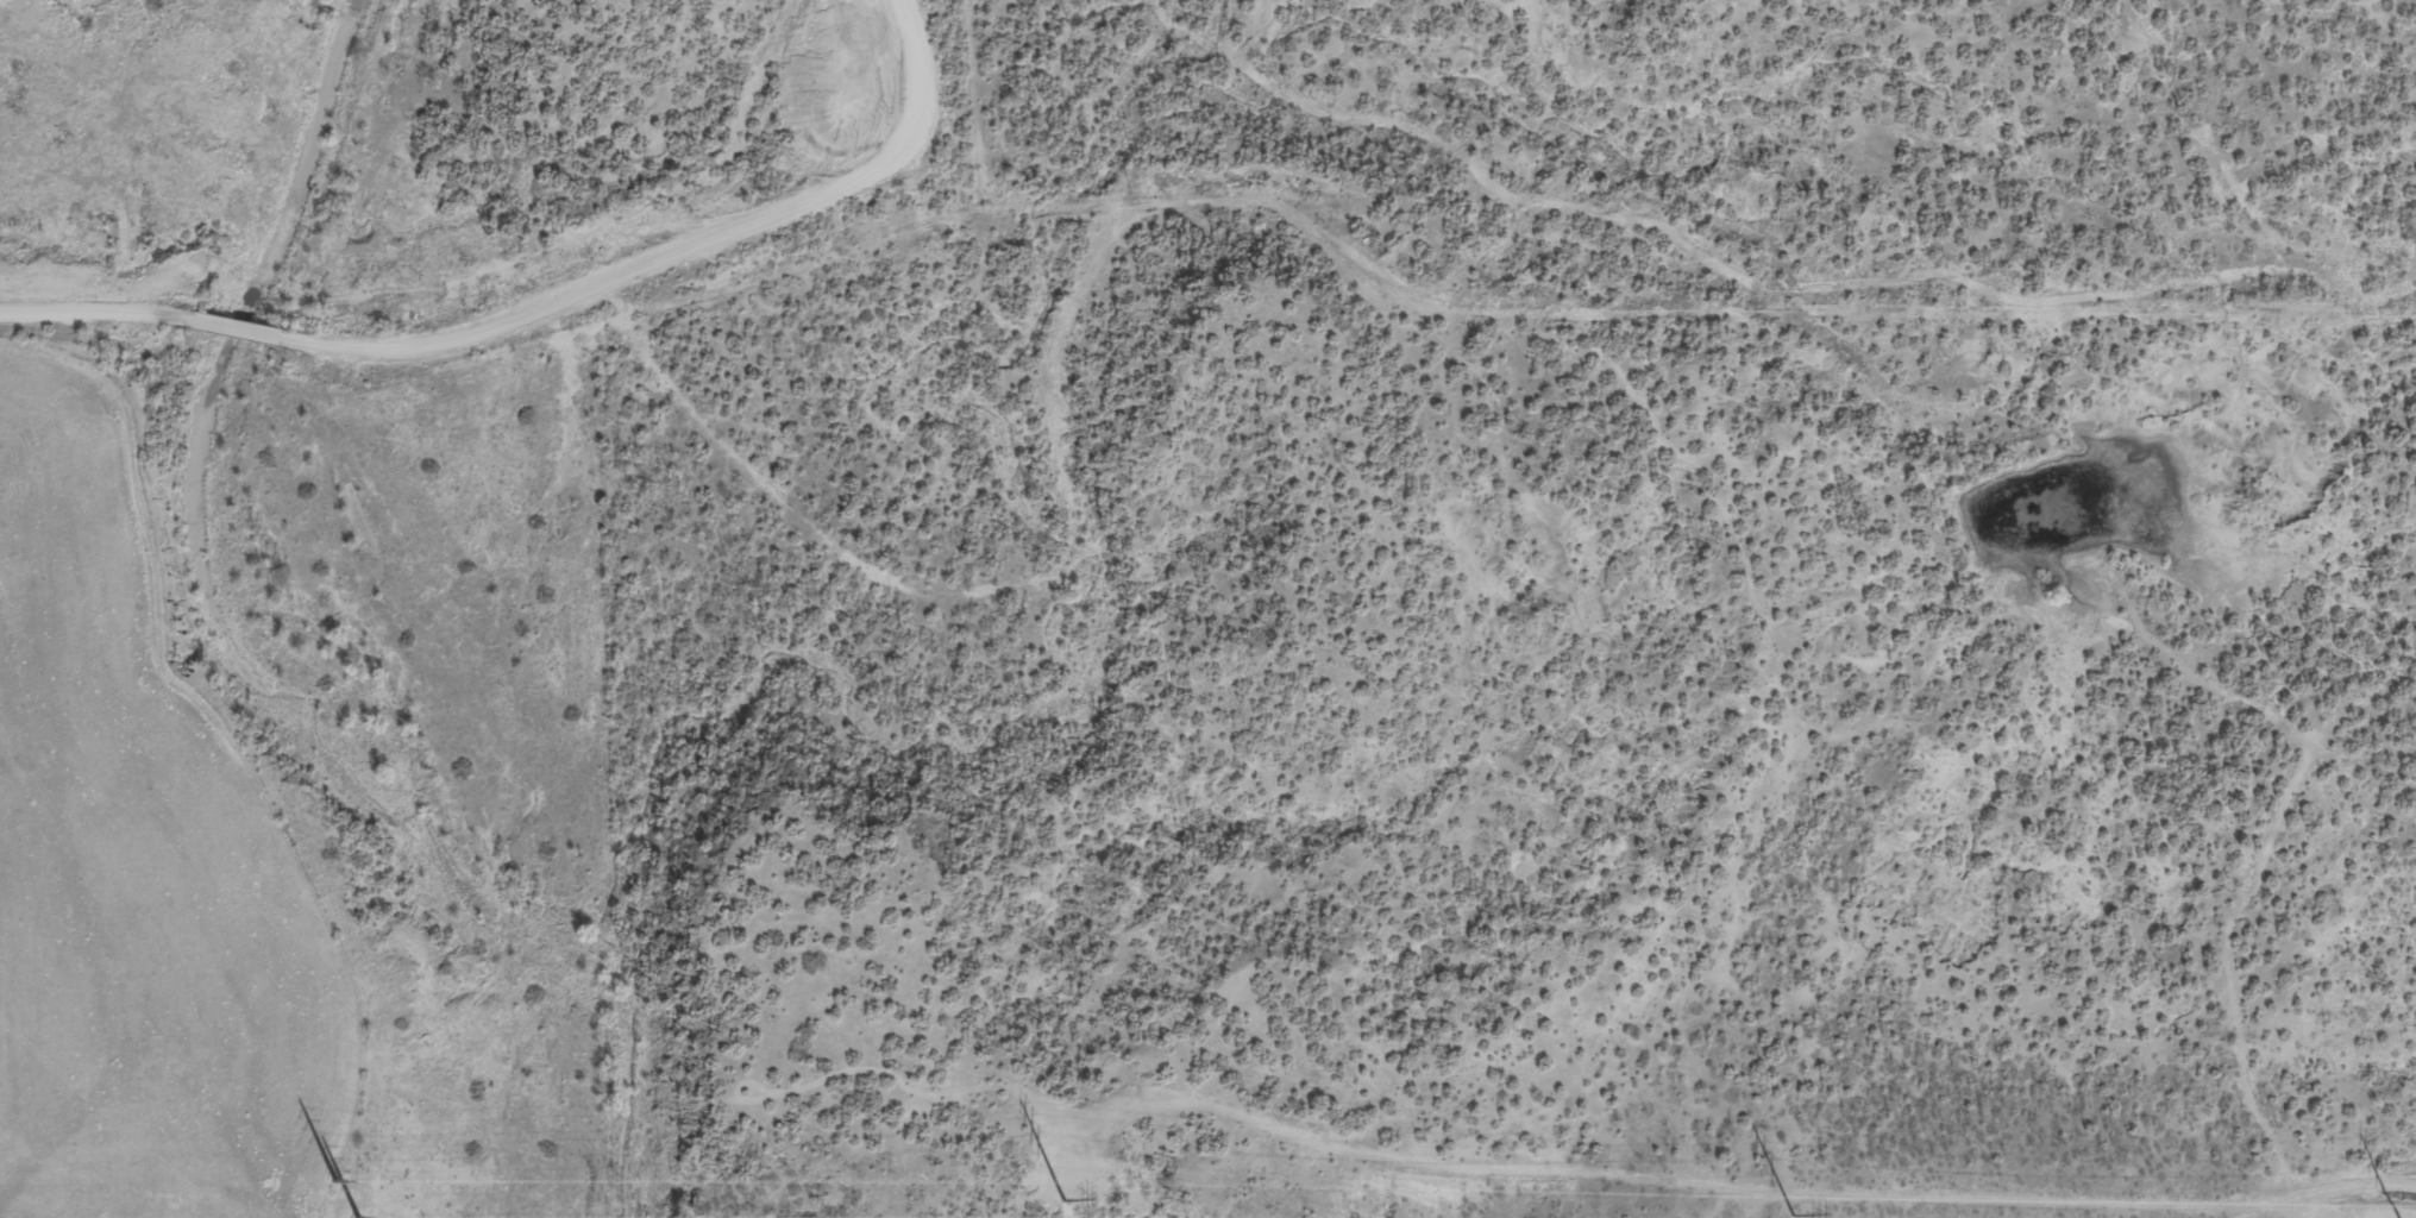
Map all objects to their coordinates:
road: (545, 304)
power tower: (1060, 1198)
power tower: (346, 1199)
power tower: (1791, 1214)

